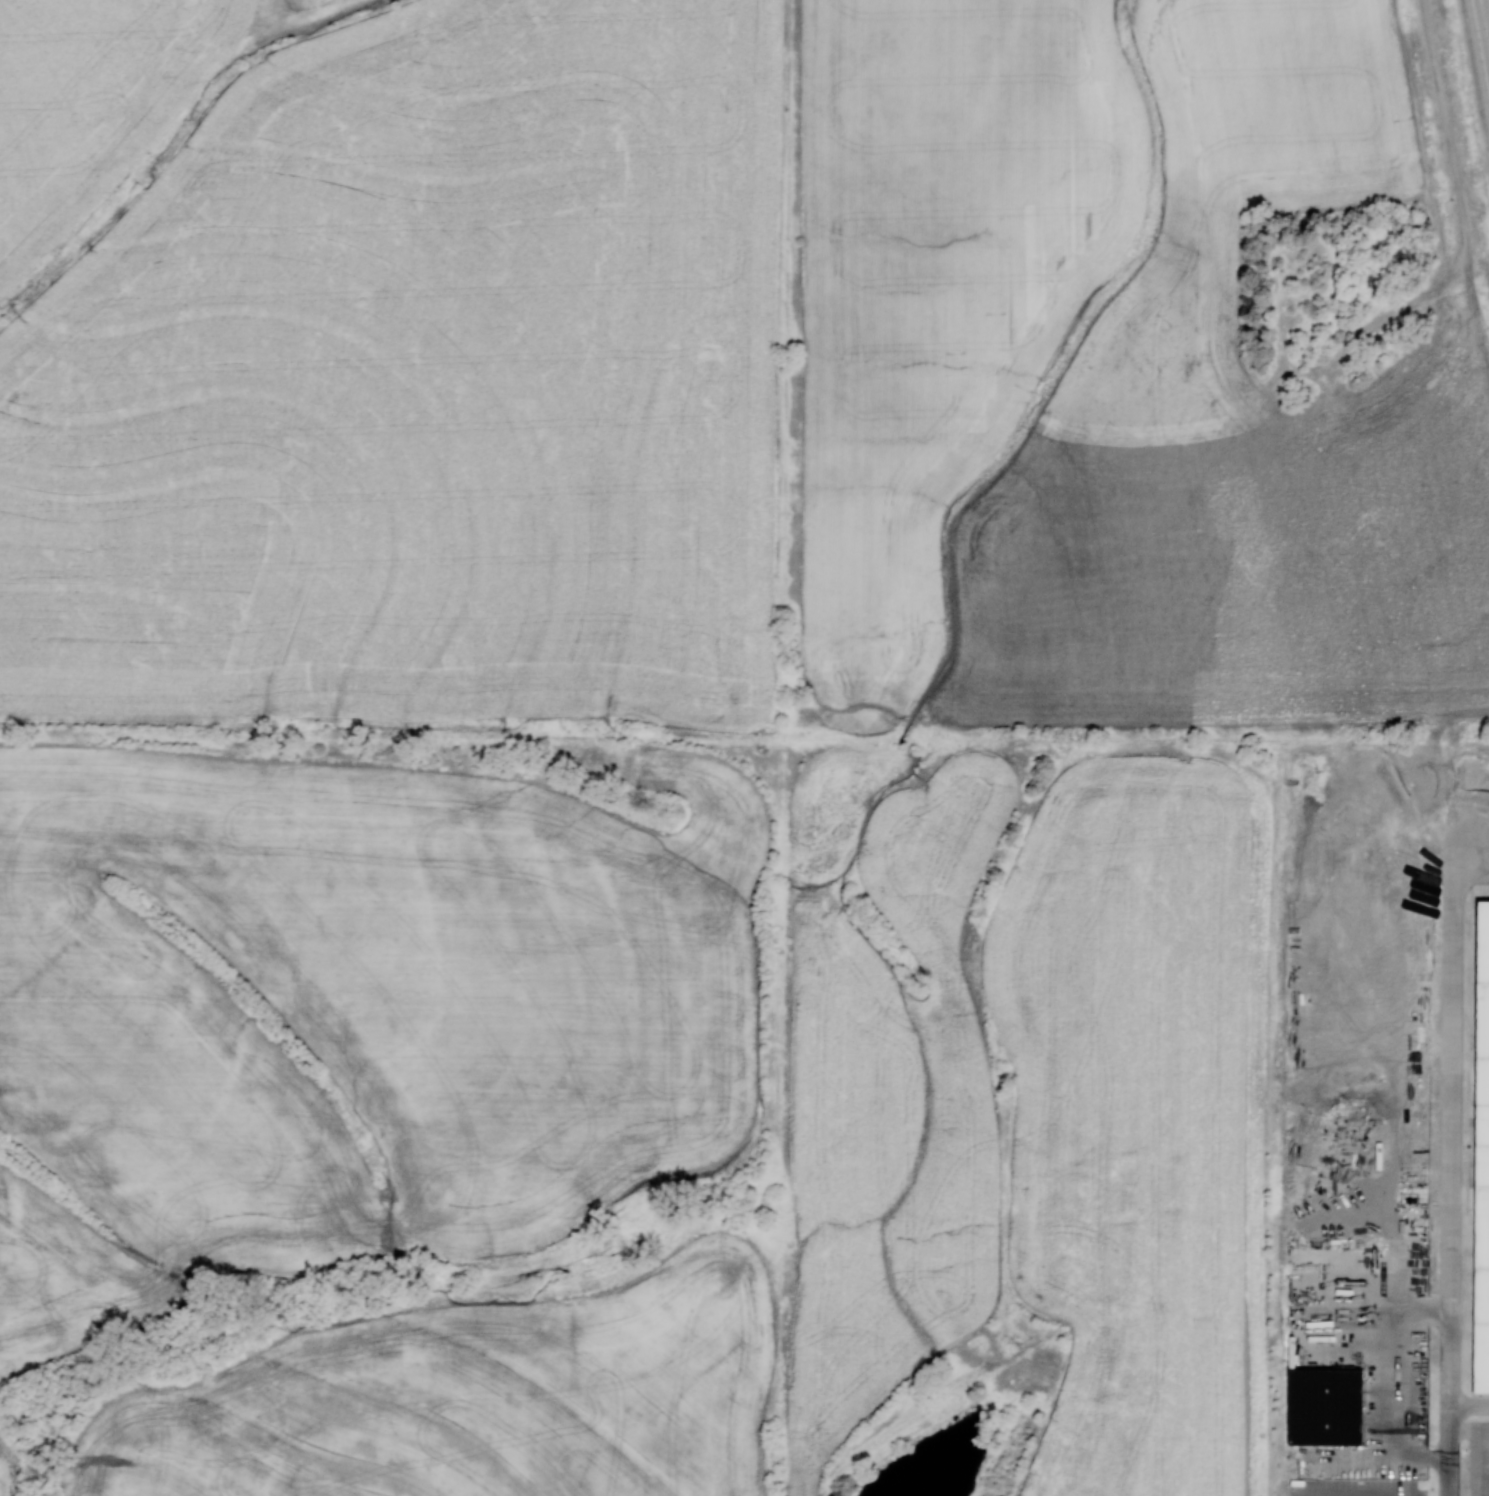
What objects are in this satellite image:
road: (1447, 137)
building: (1481, 1153)
road: (1448, 1163)
building: (1324, 1406)

